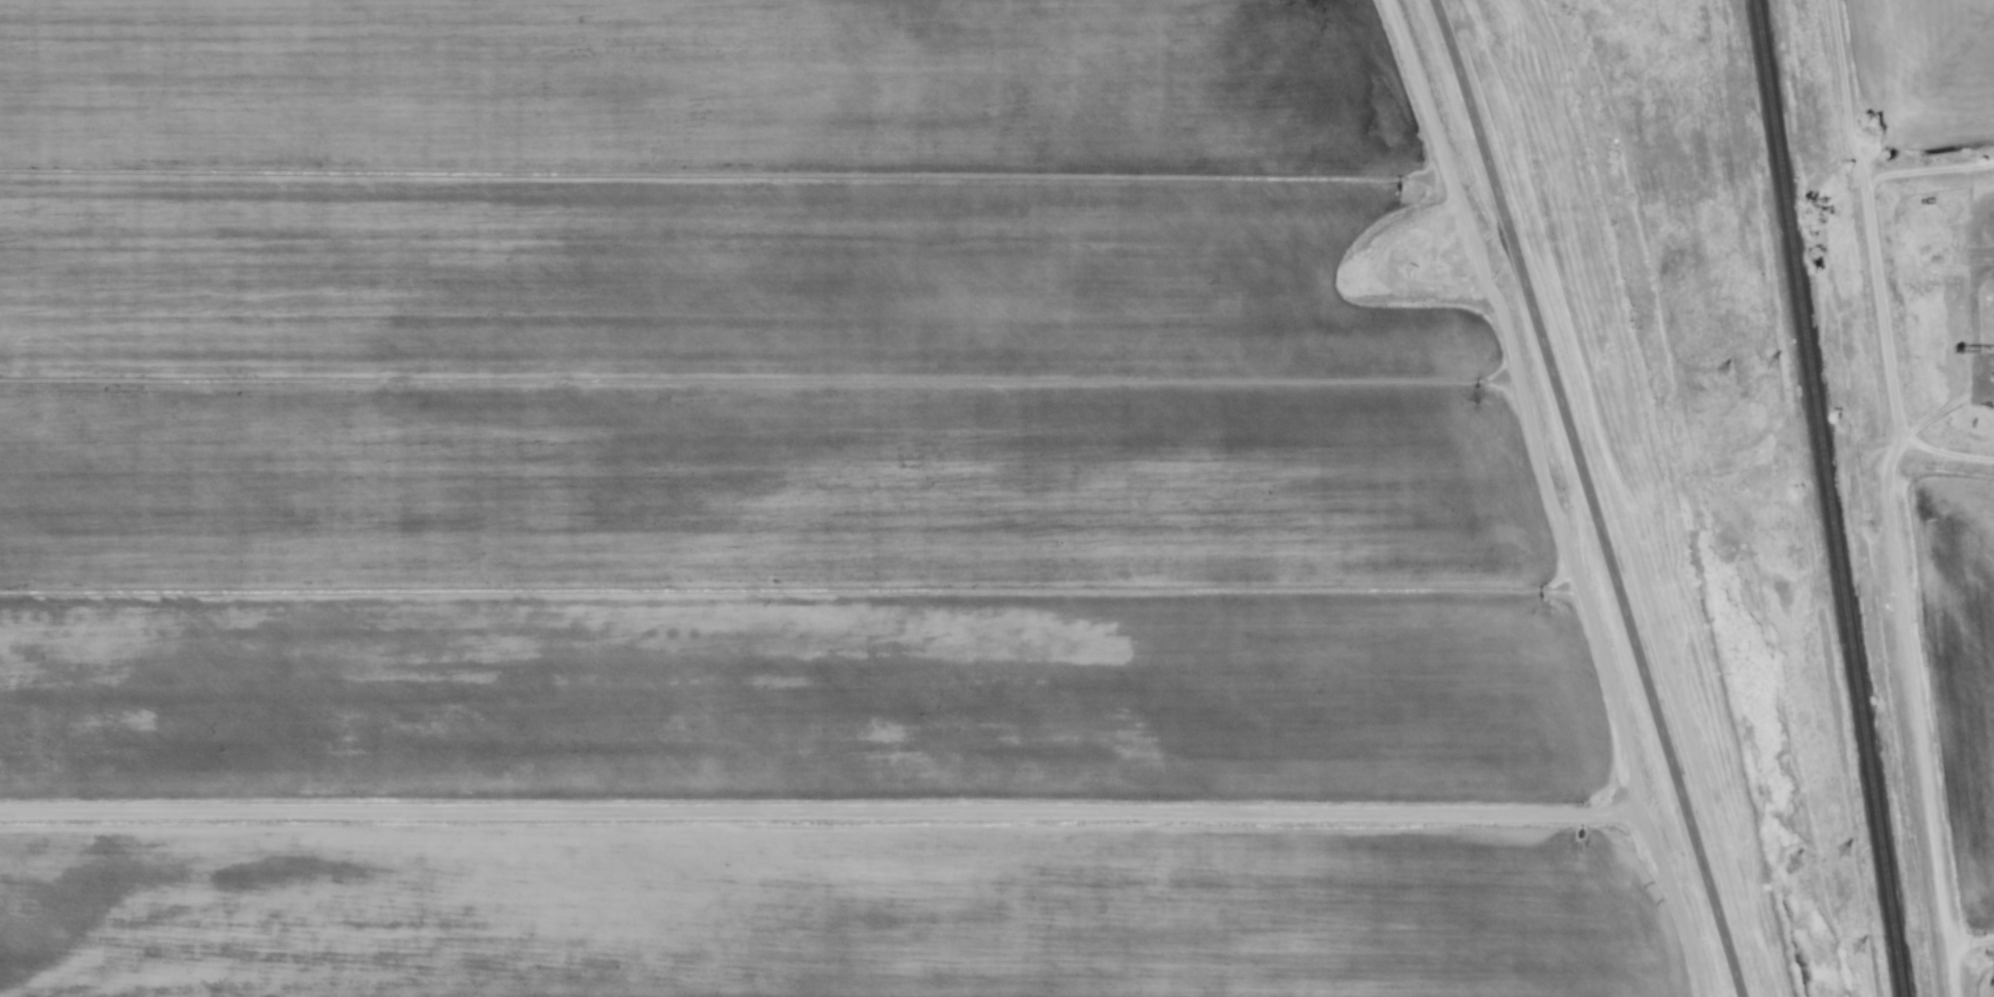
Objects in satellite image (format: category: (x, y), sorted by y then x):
crop: (1890, 86)
power tower: (1776, 364)
power tower: (1725, 371)
road: (1595, 495)
railway: (1834, 498)
crop: (1935, 698)
power tower: (1847, 853)
power tower: (1798, 861)
power tower: (1861, 951)

